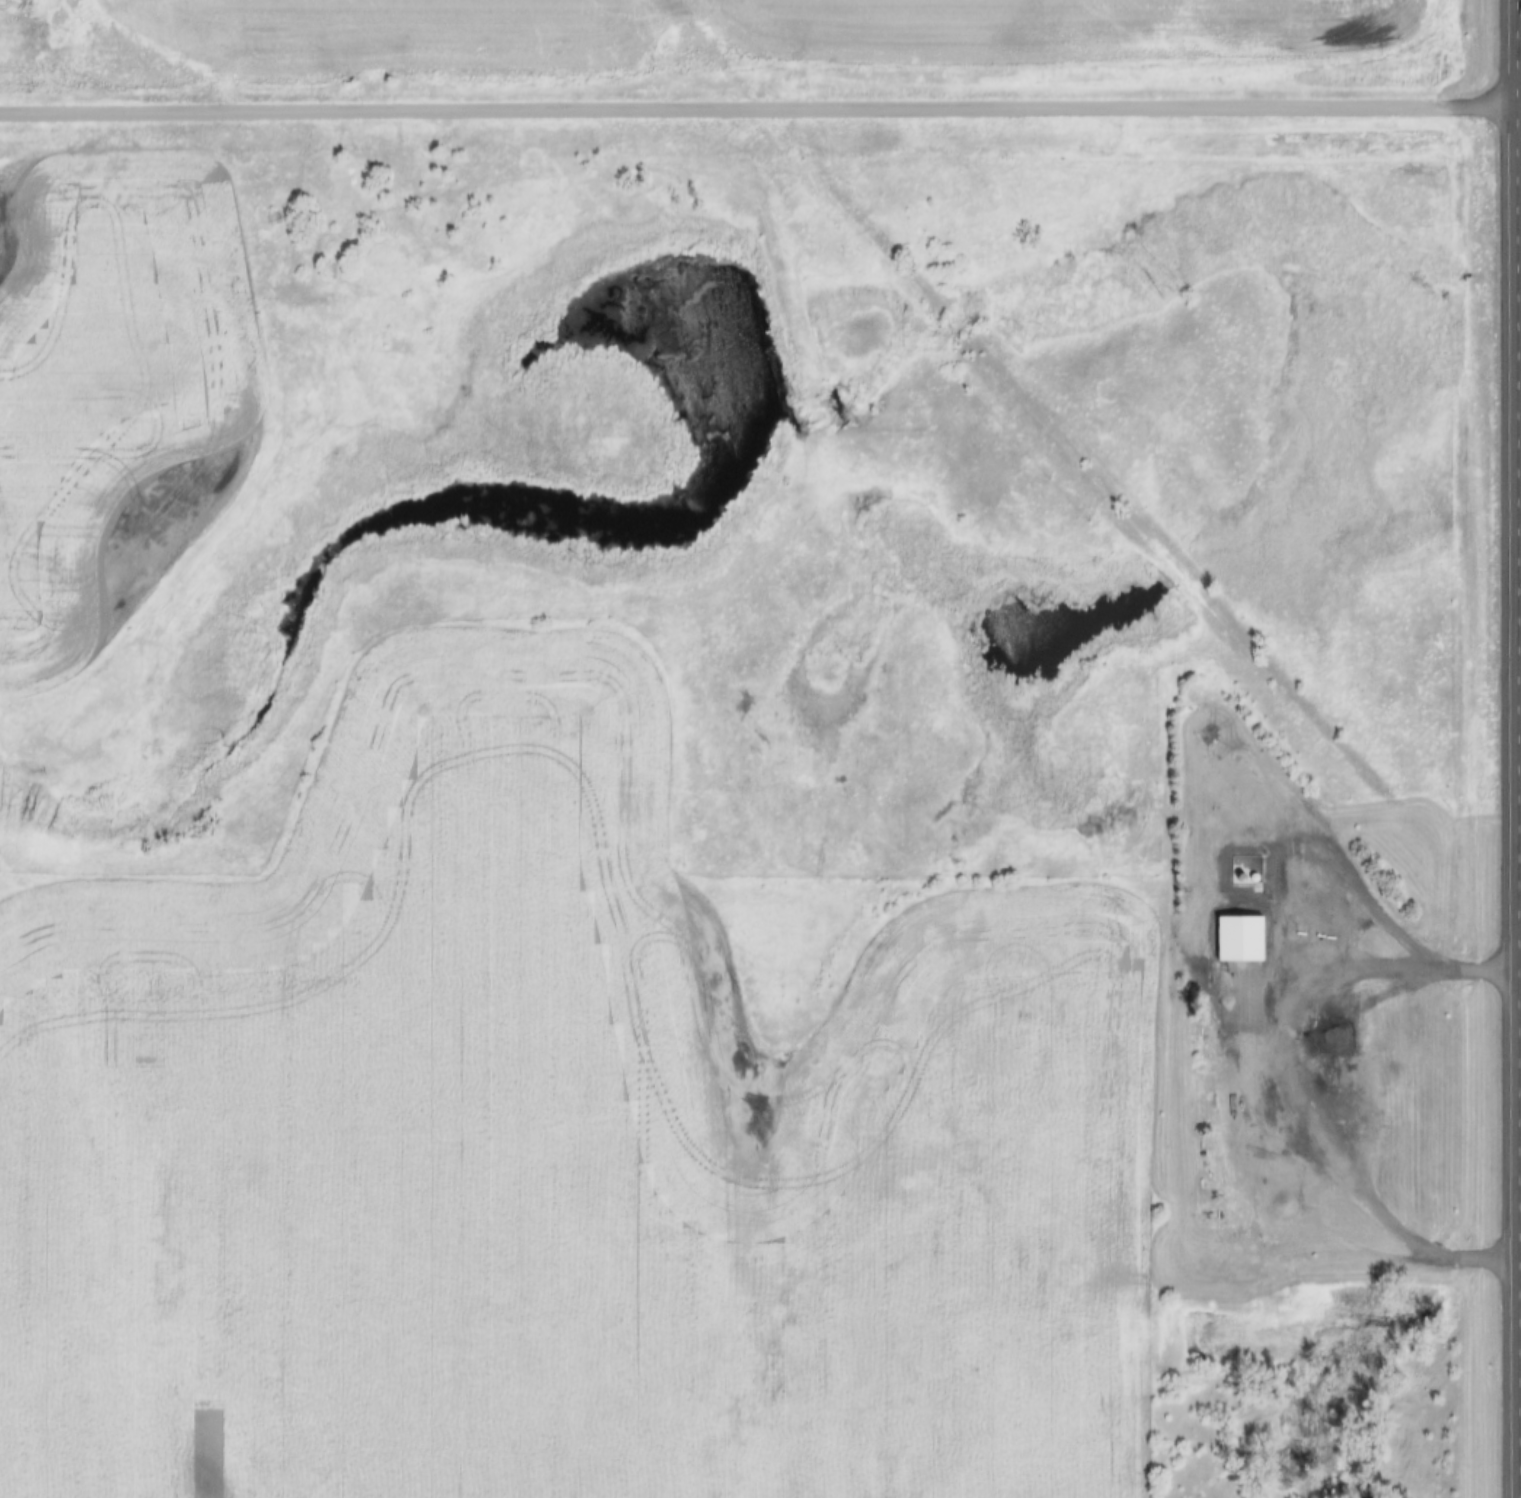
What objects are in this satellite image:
road: (760, 113)
road: (1340, 1116)

